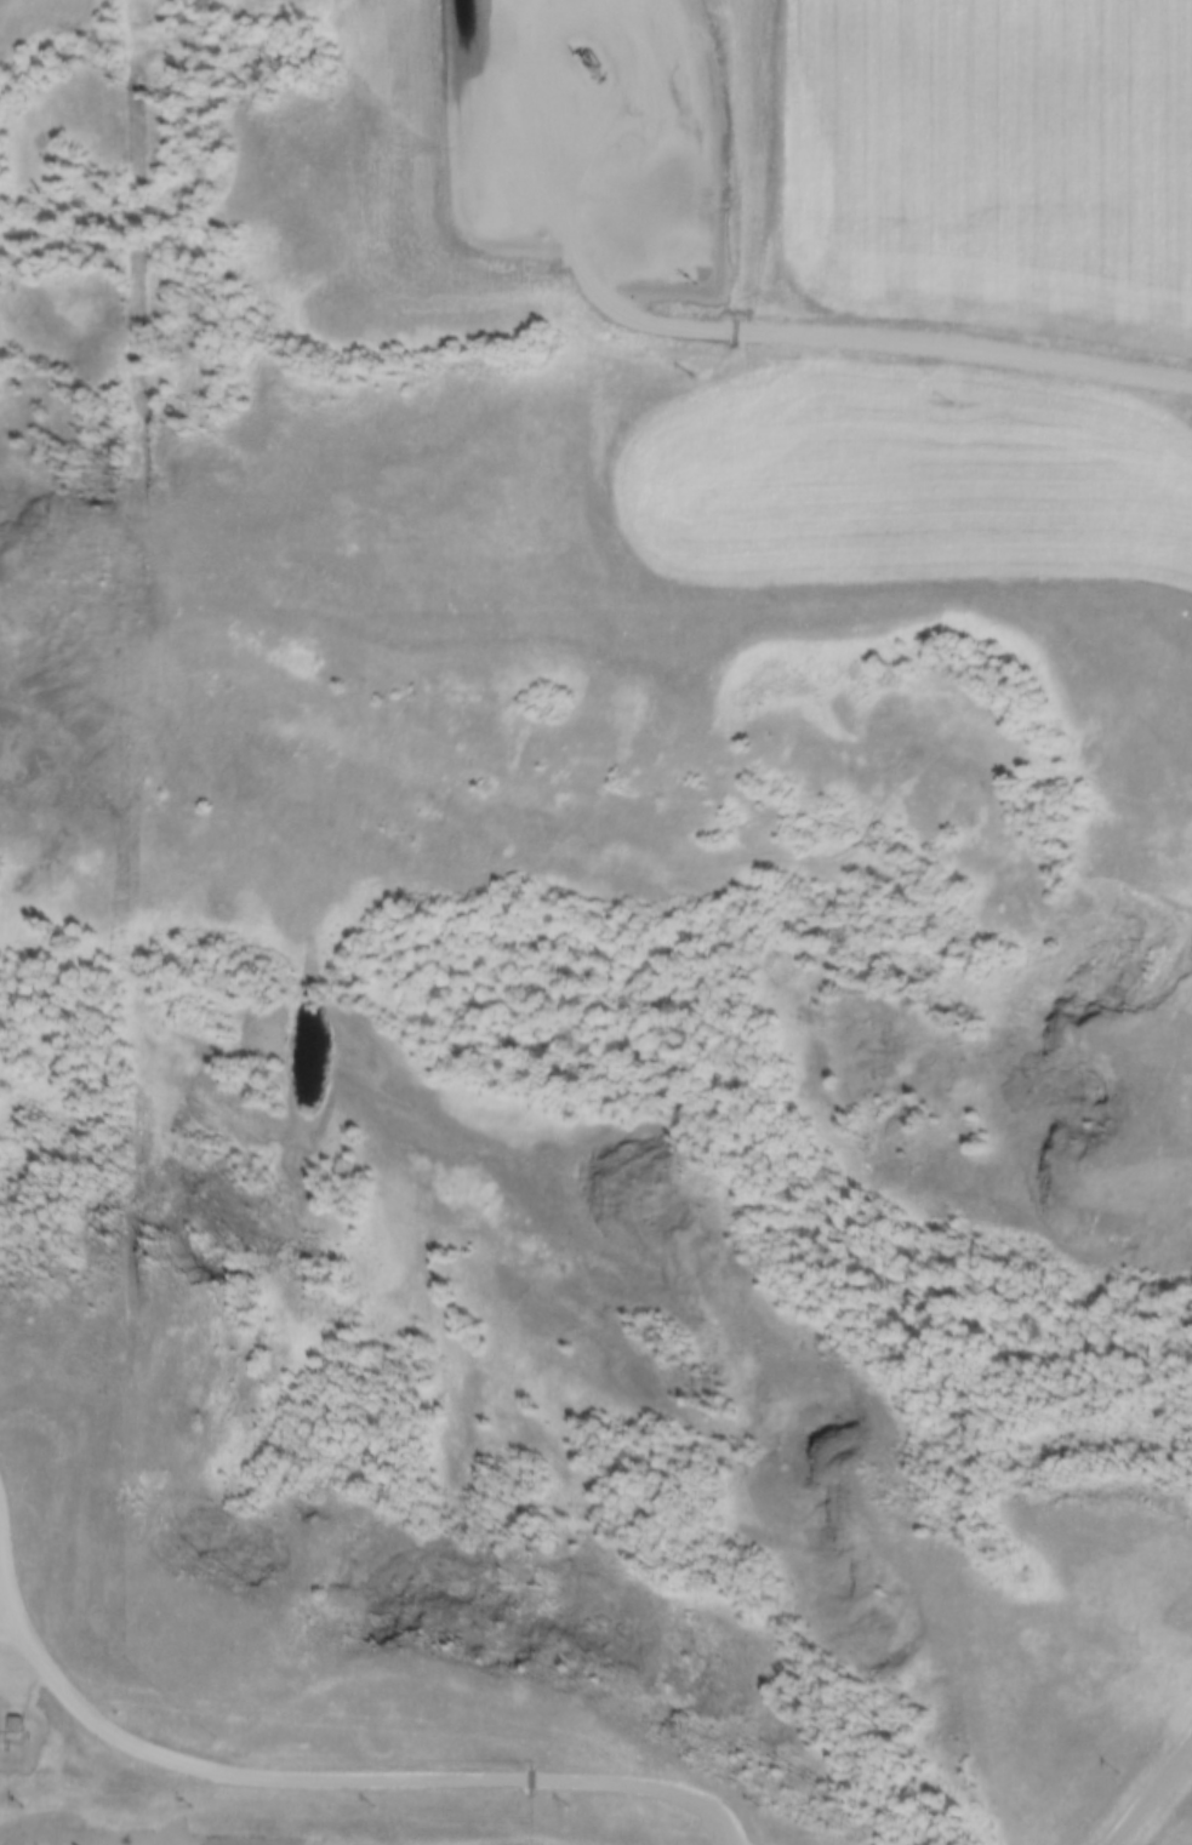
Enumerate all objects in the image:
road: (833, 332)
road: (292, 1765)
road: (1139, 1792)

